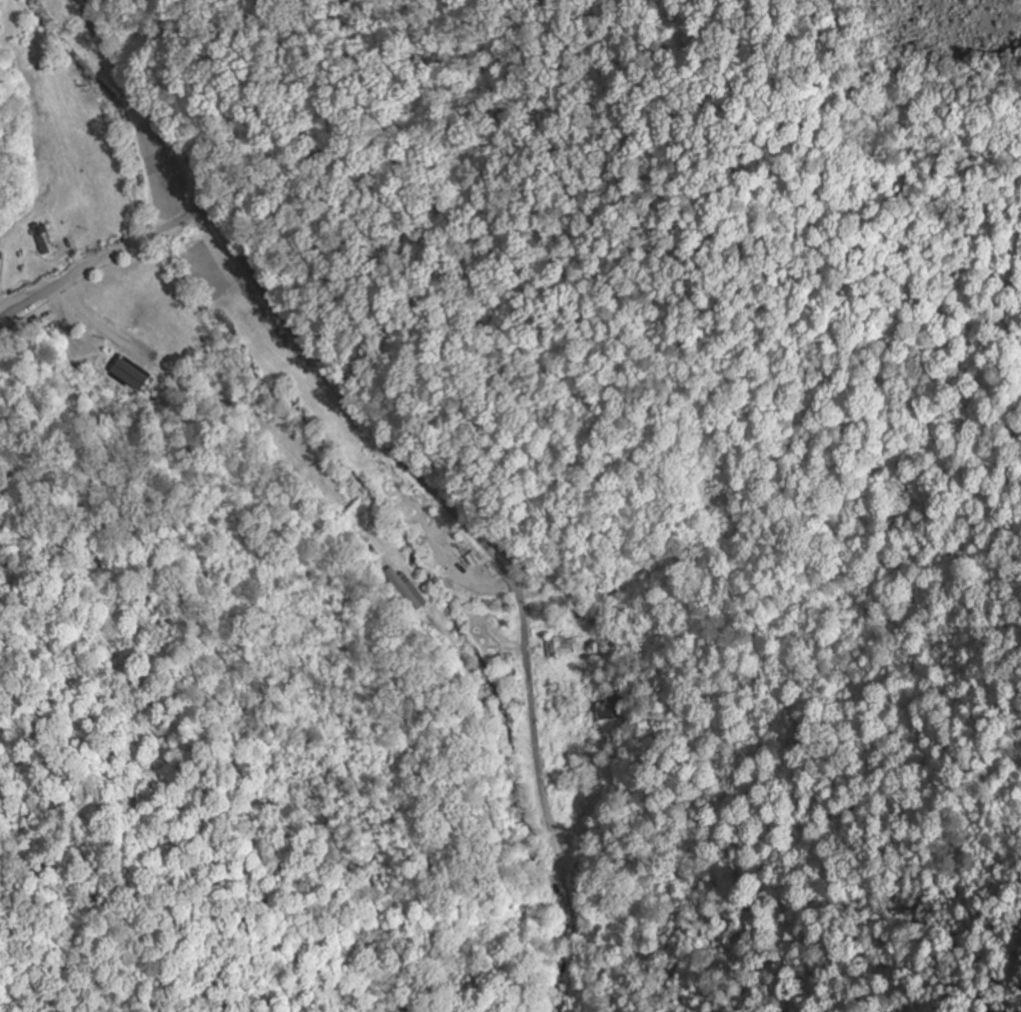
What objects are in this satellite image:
building: (41, 239)
road: (102, 259)
road: (161, 344)
road: (366, 412)

